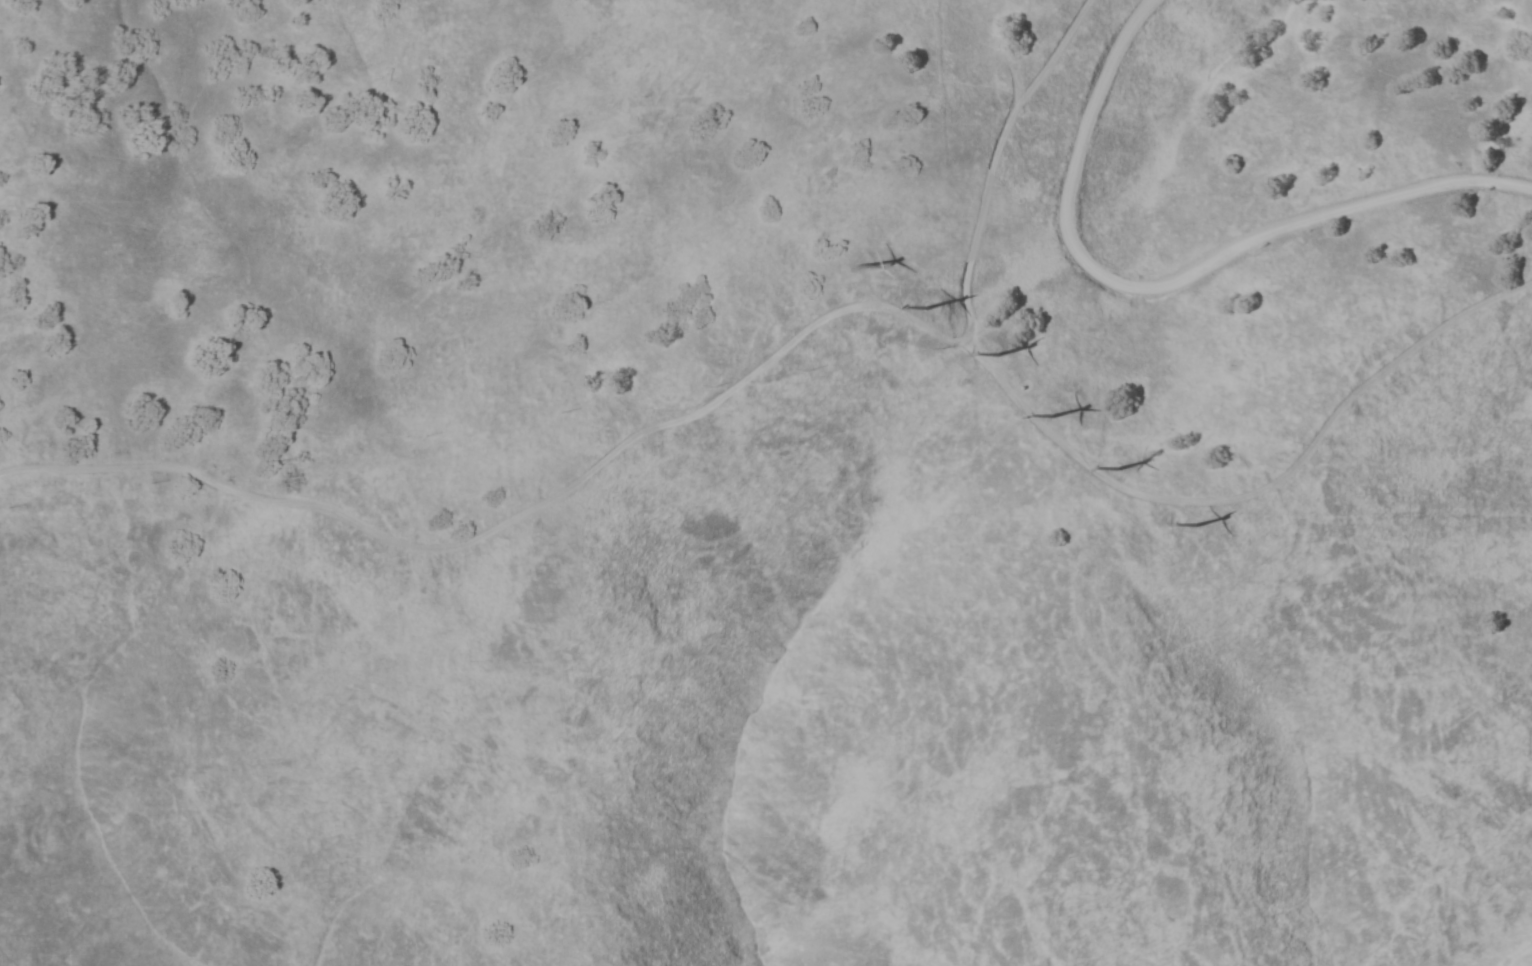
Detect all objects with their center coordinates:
road: (990, 162)
wind turbine: (864, 264)
road: (1168, 279)
wind turbine: (930, 308)
wind turbine: (1006, 352)
wind turbine: (1064, 418)
wind turbine: (1140, 454)
road: (1258, 488)
road: (511, 516)
wind turbine: (1210, 531)

